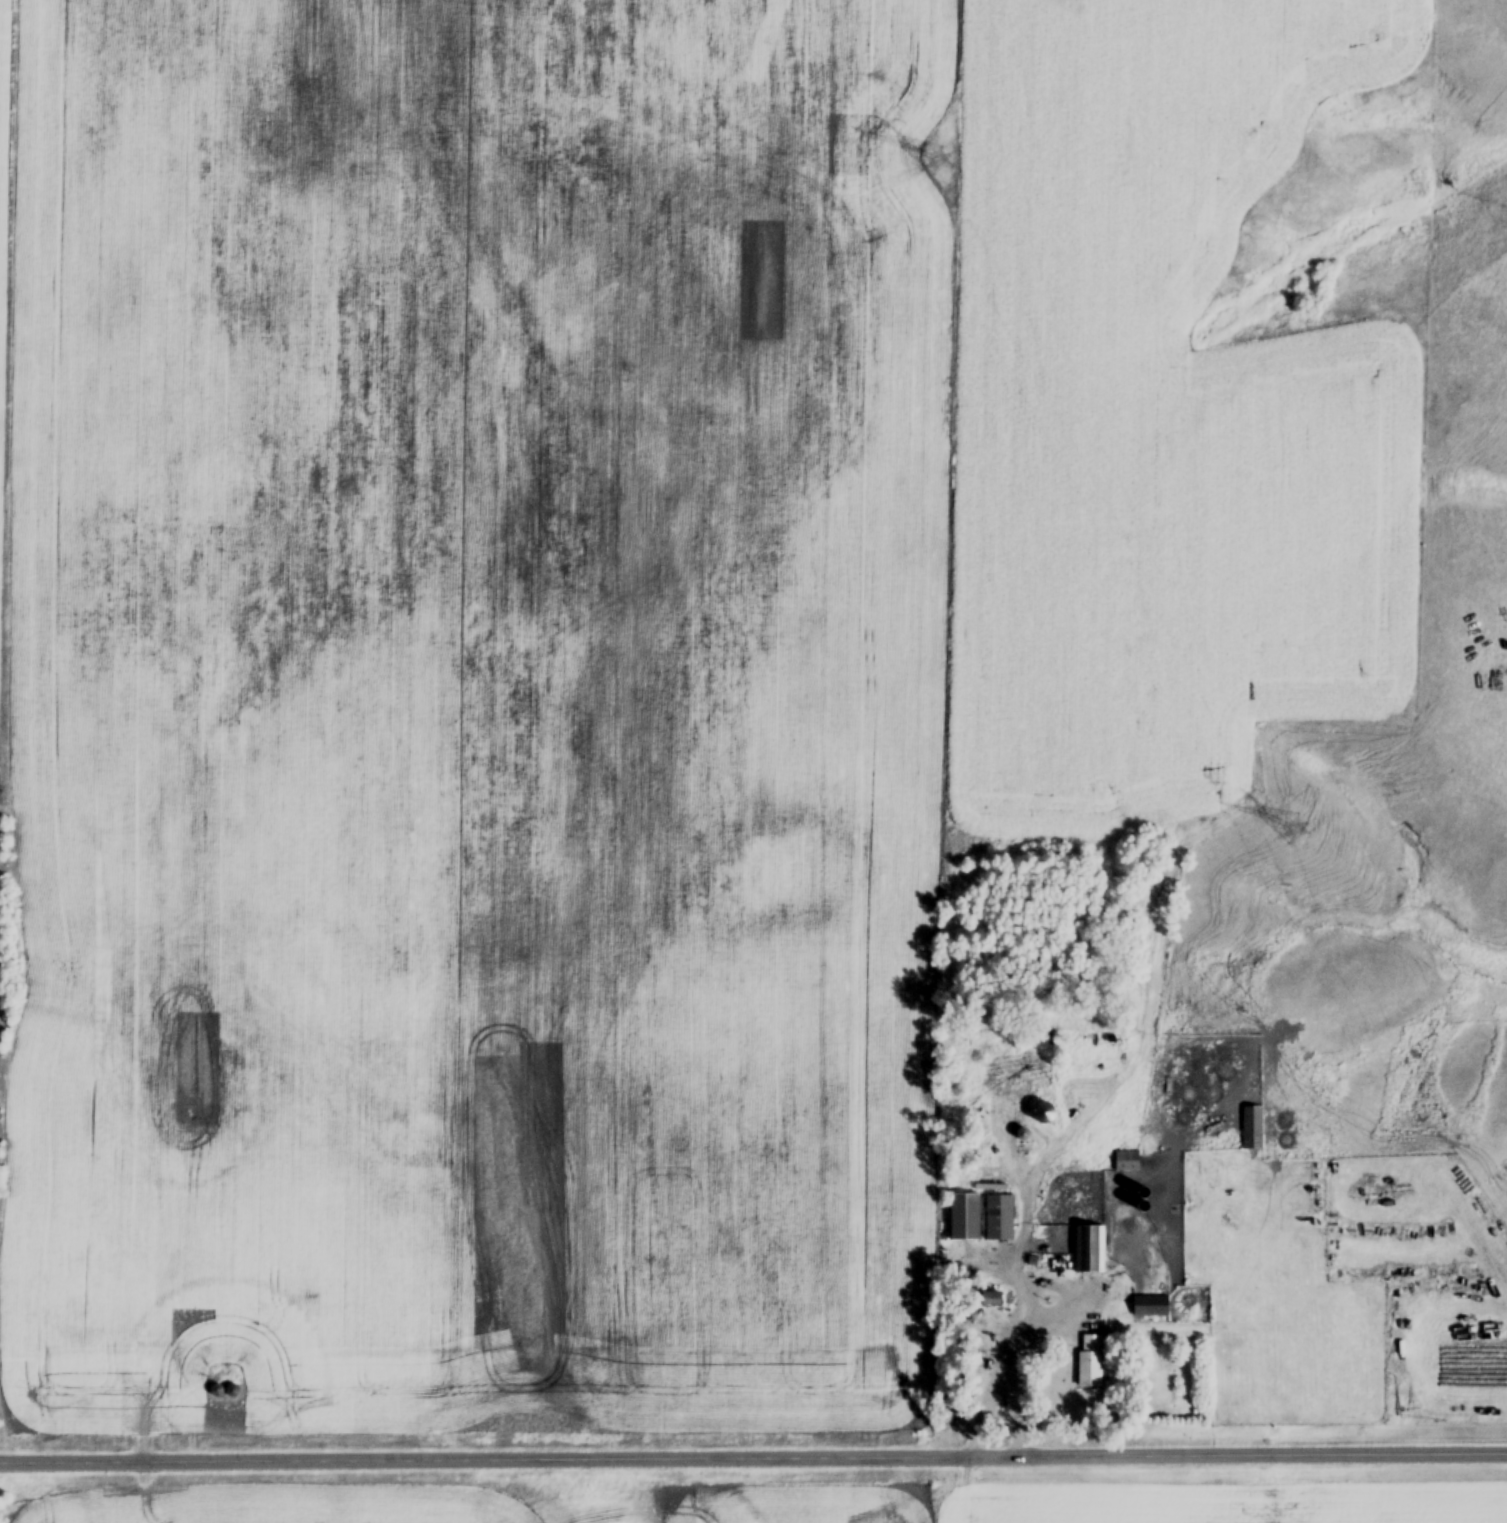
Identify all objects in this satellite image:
power tower: (938, 166)
power tower: (1292, 832)
building: (1252, 1130)
building: (965, 1220)
building: (1000, 1220)
building: (1089, 1252)
building: (992, 1302)
building: (1150, 1309)
building: (1091, 1364)
building: (232, 1393)
road: (753, 1464)

